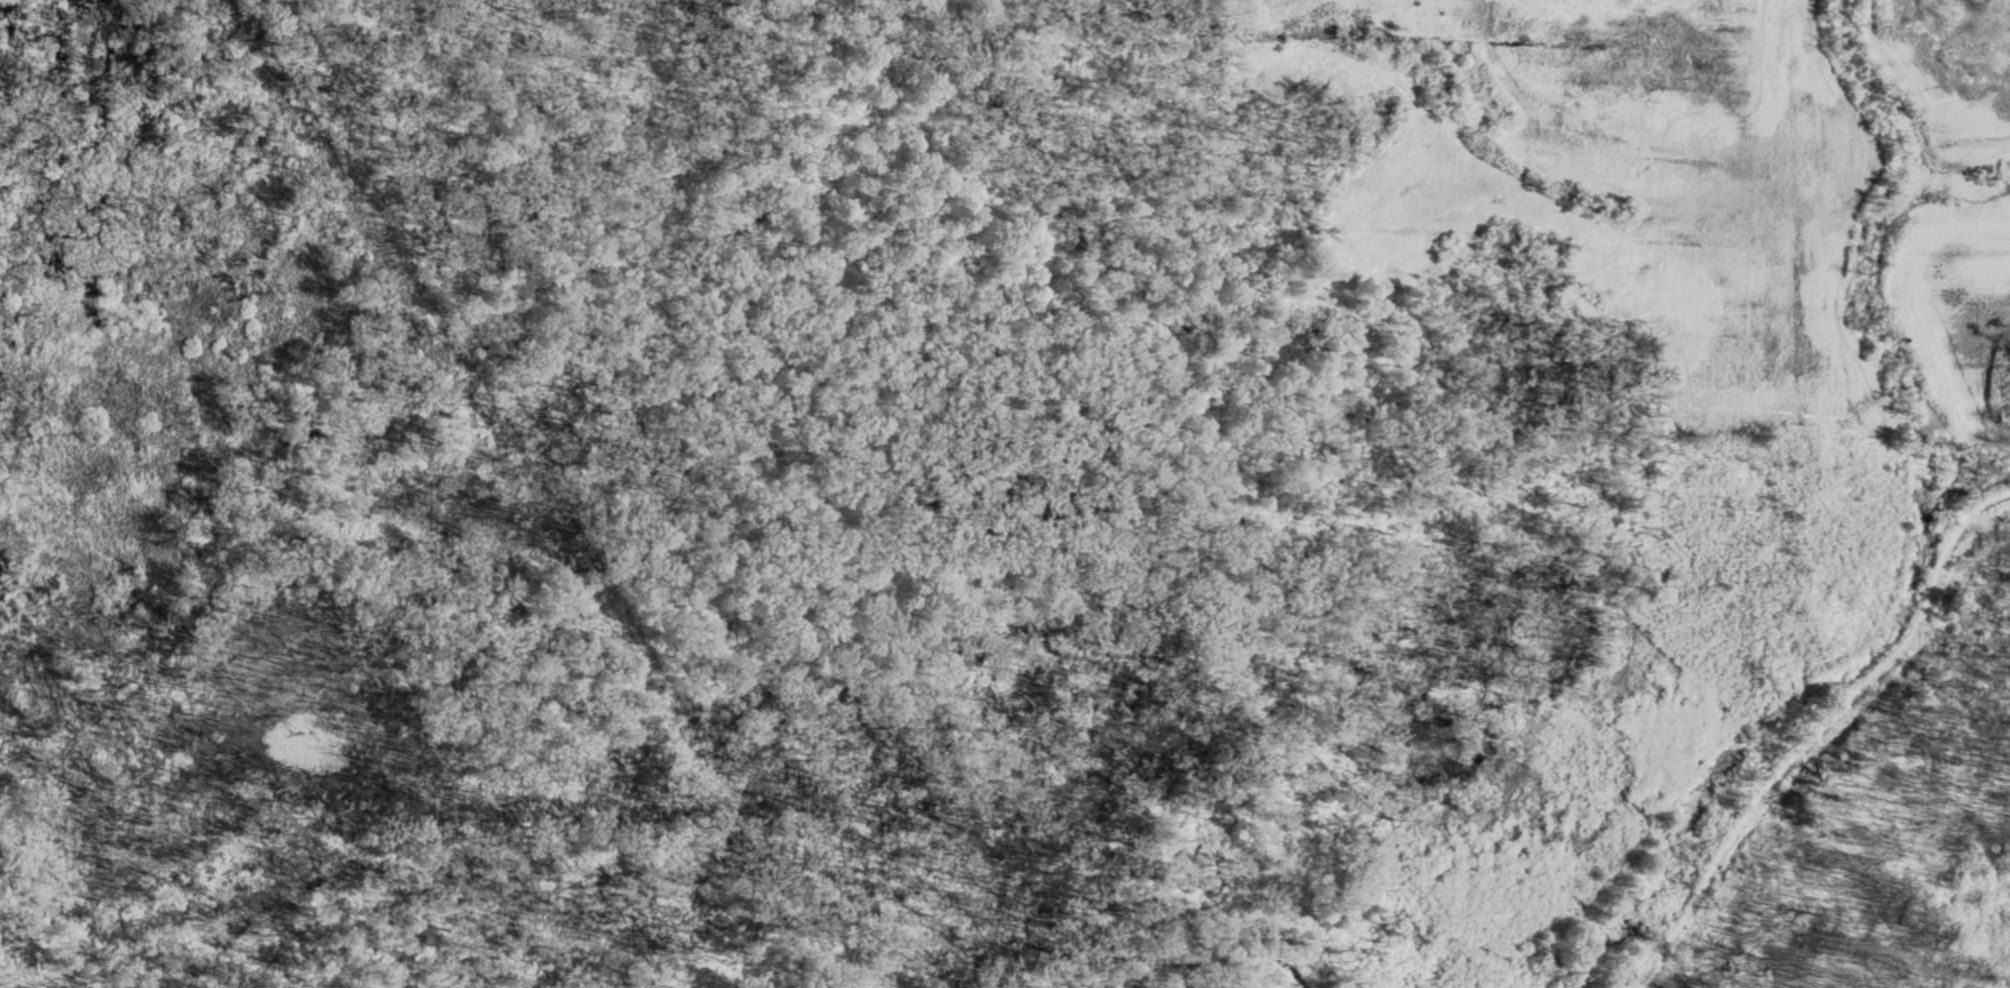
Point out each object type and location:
road: (1821, 745)

